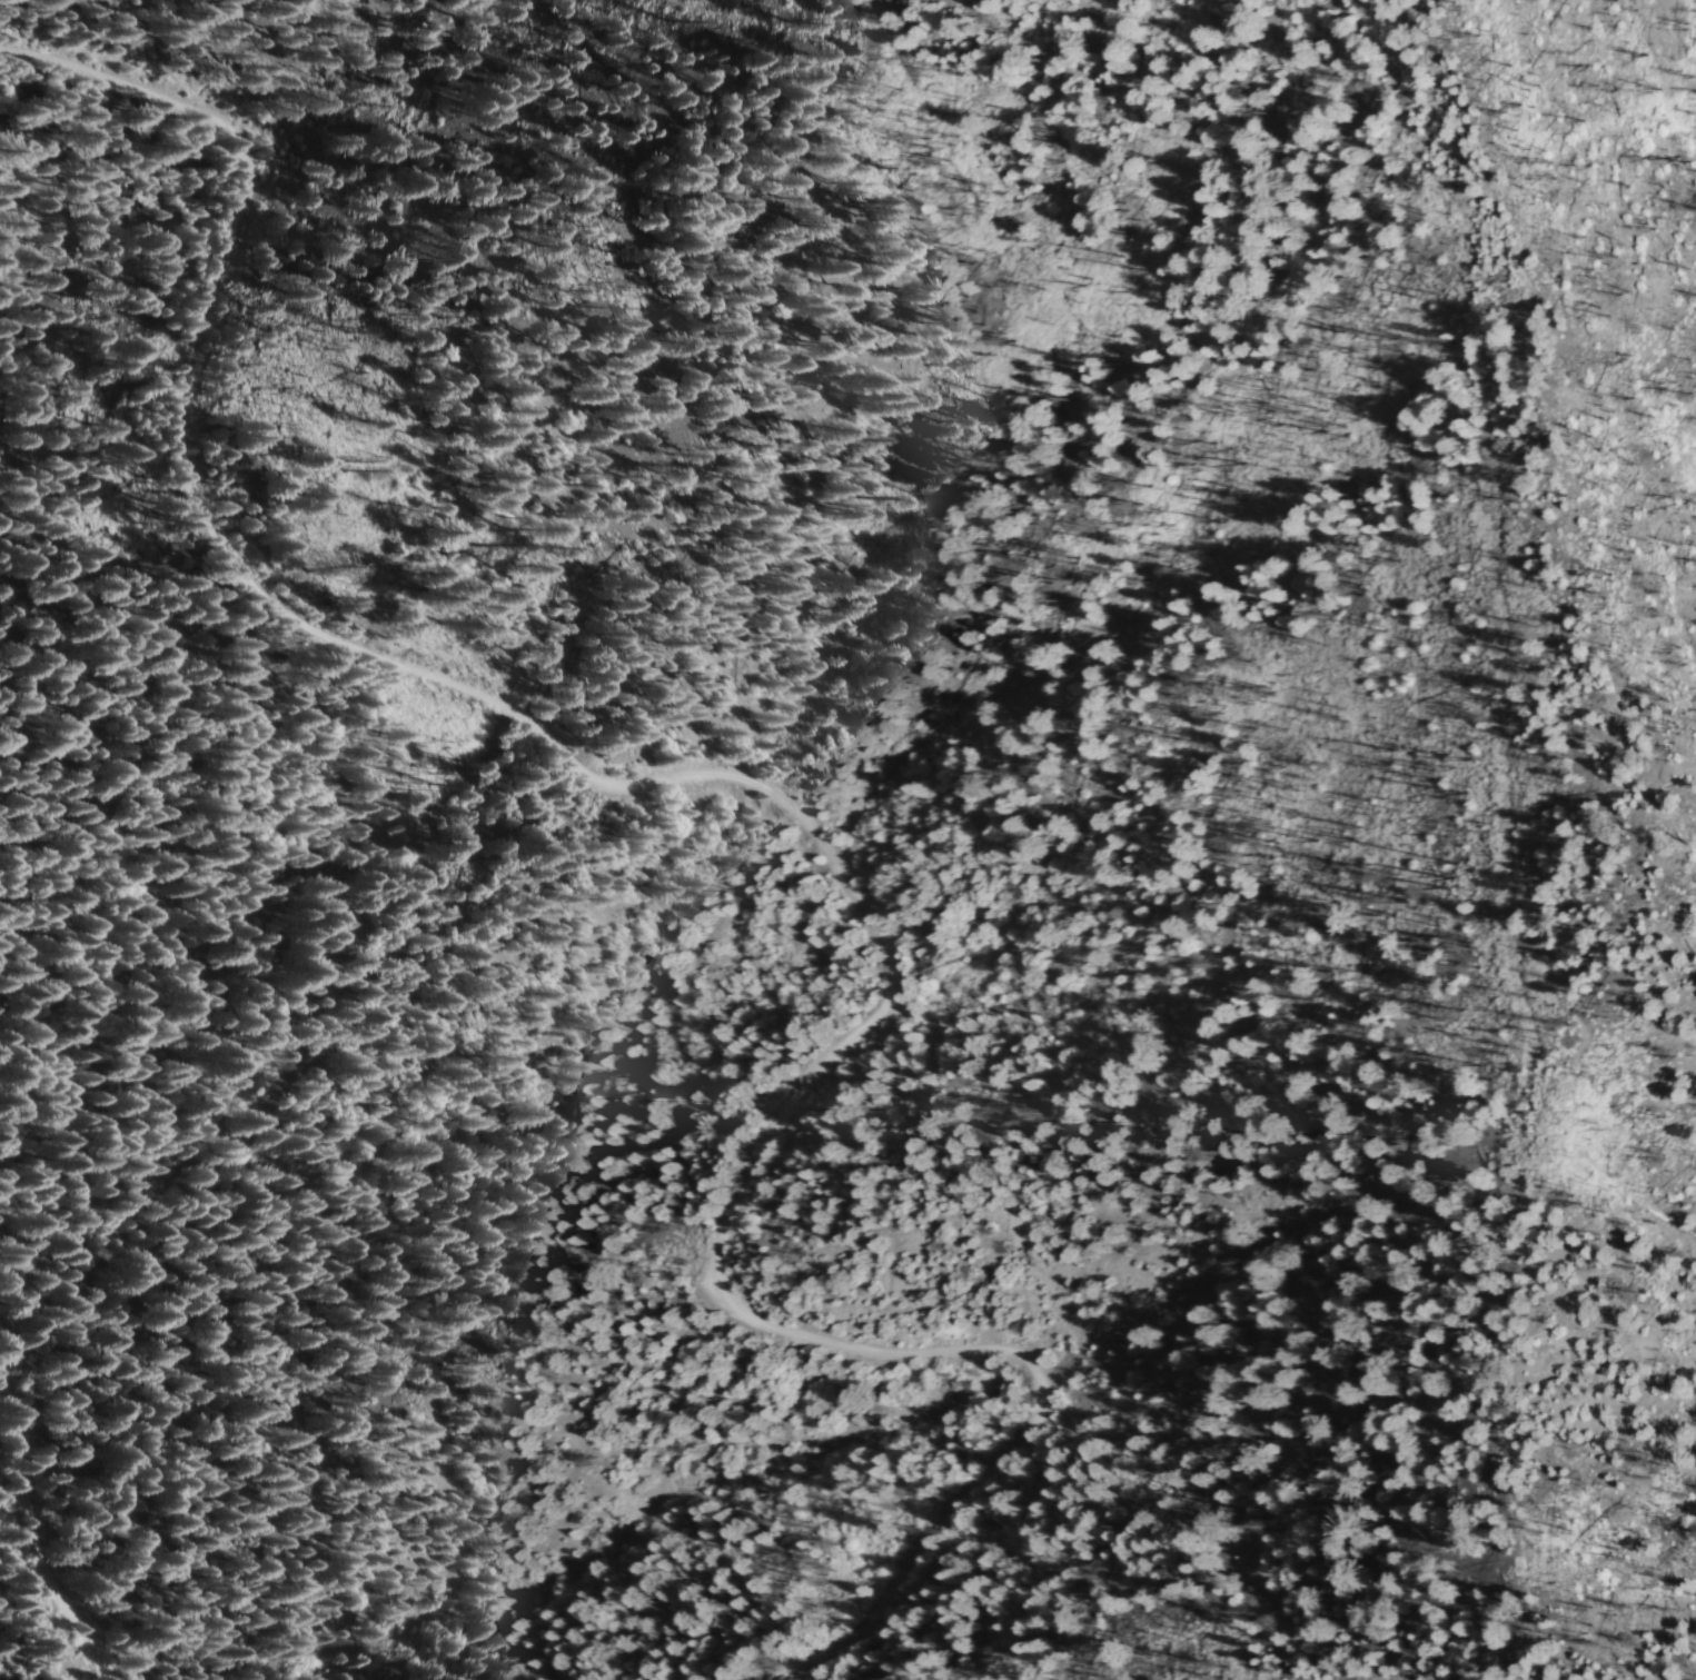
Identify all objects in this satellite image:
road: (705, 819)
road: (38, 1563)

